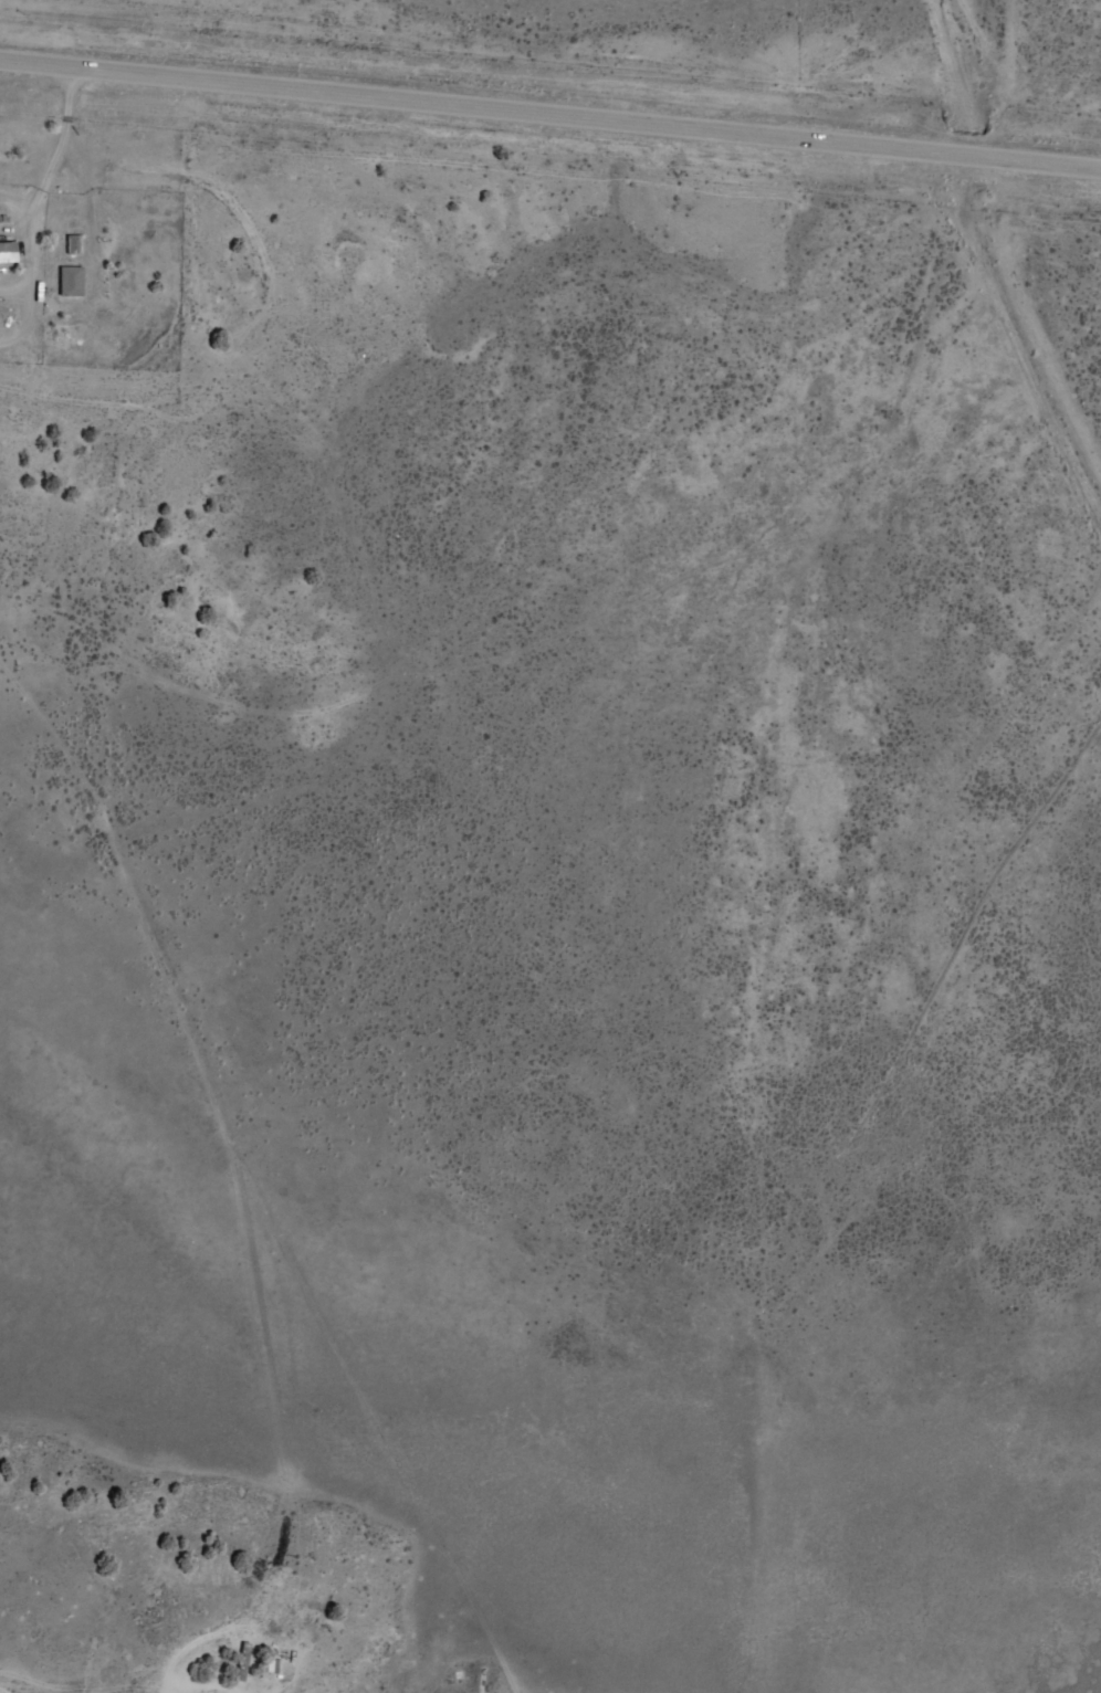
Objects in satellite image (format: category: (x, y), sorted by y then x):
road: (550, 114)
building: (73, 244)
building: (8, 252)
building: (70, 281)
road: (444, 1546)
building: (242, 1661)

